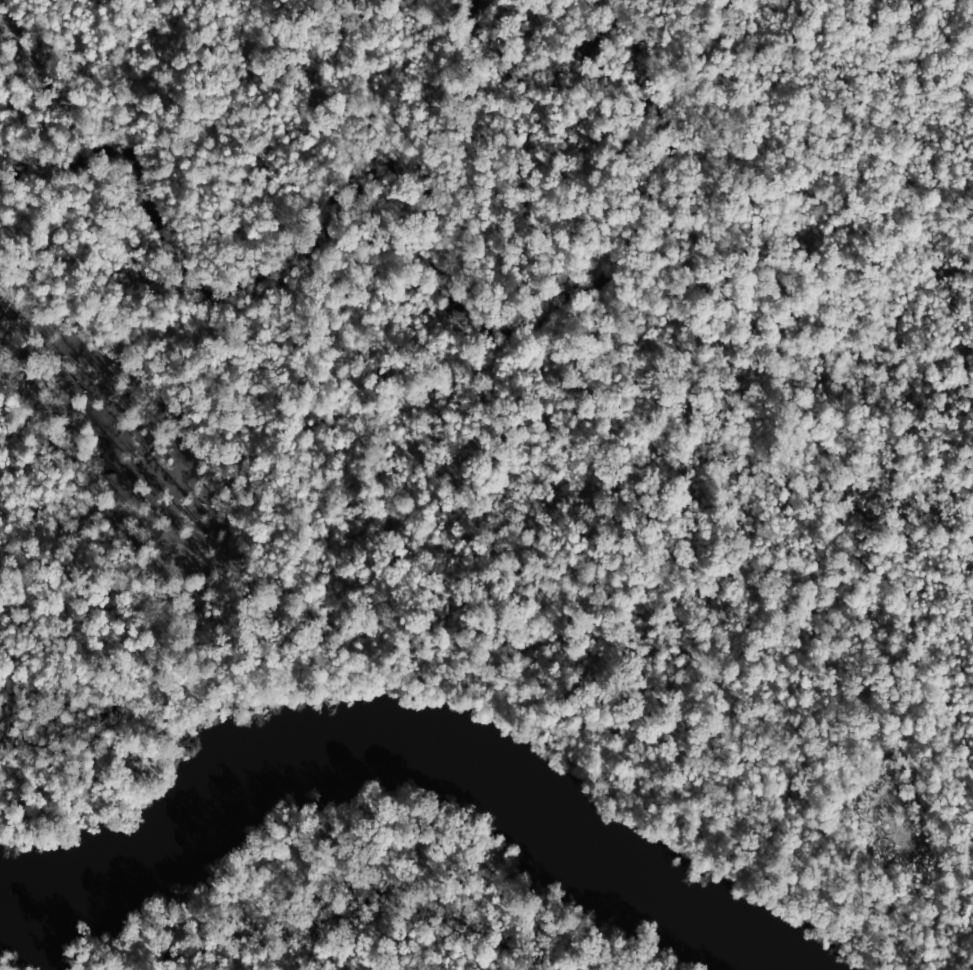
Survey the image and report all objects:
river: (409, 747)

